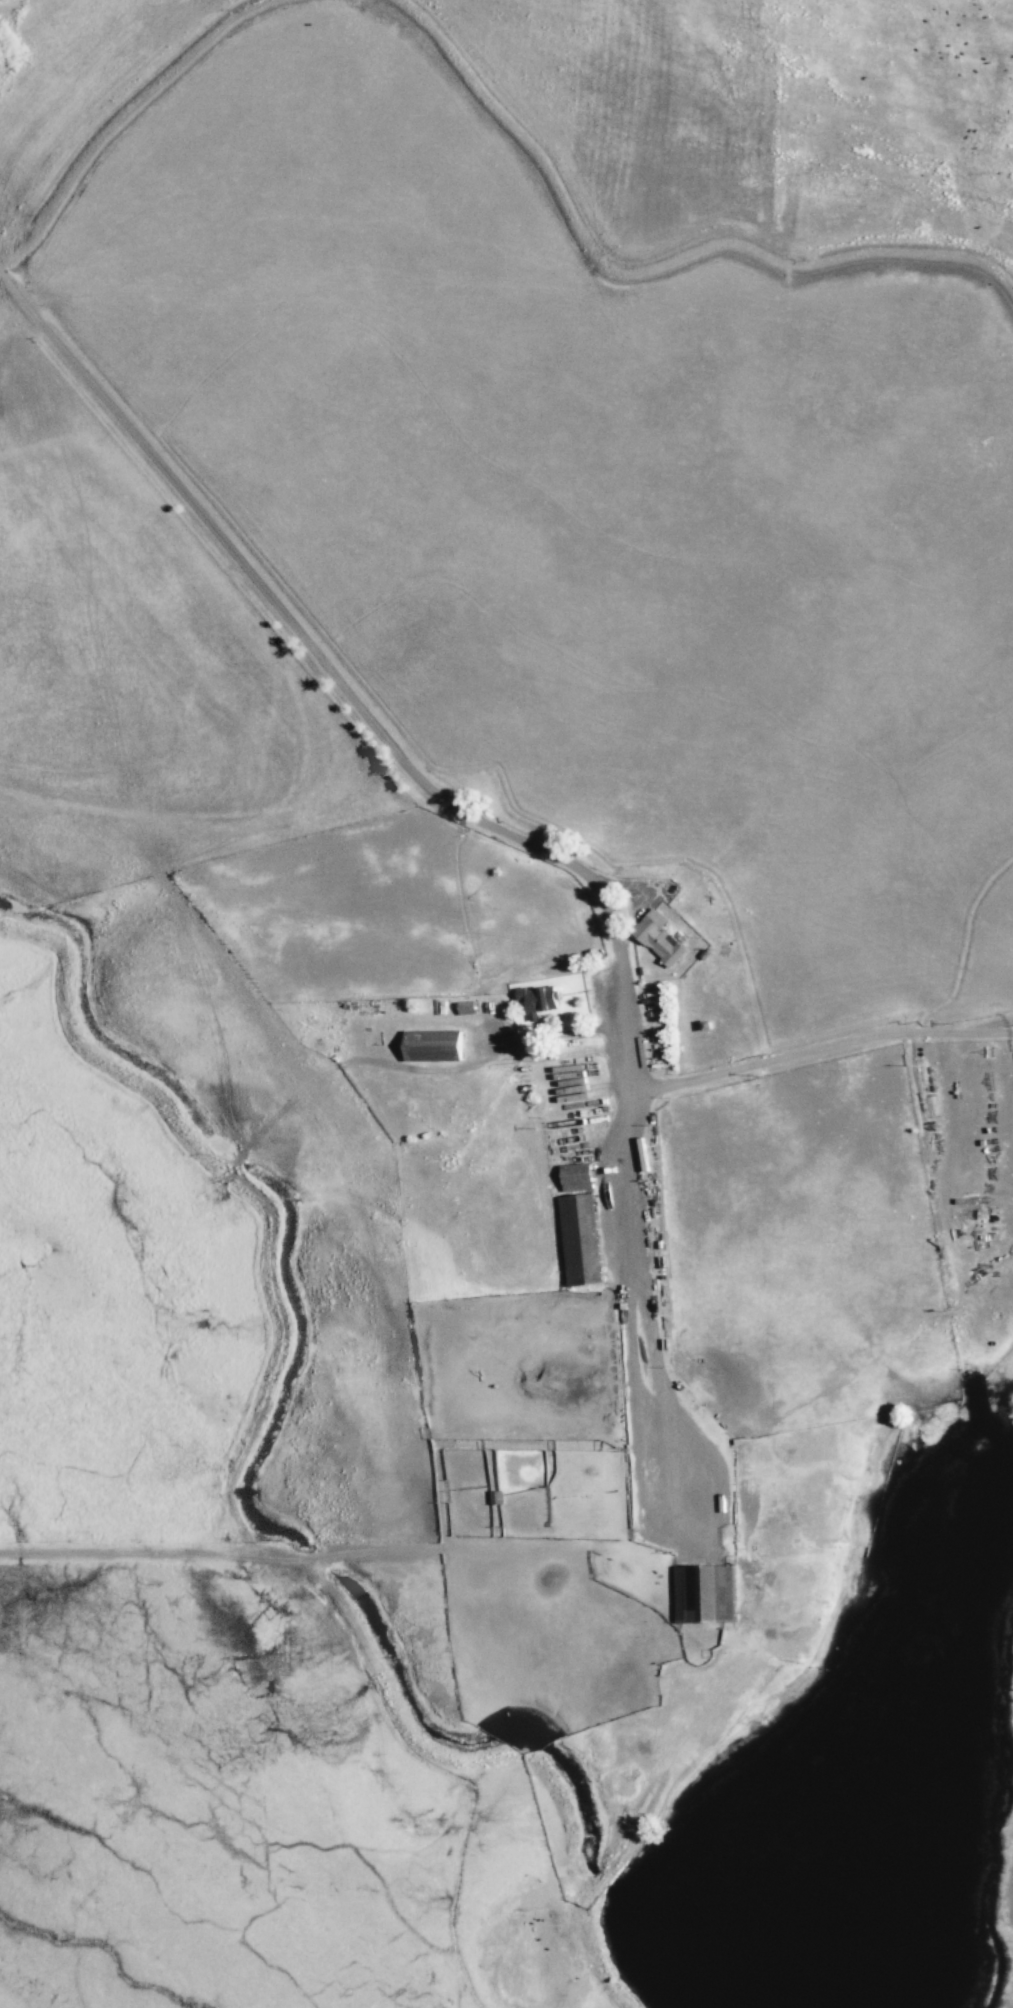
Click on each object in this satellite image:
road: (484, 821)
building: (658, 939)
building: (537, 1001)
building: (431, 1046)
road: (824, 1054)
building: (579, 1241)
building: (704, 1594)

